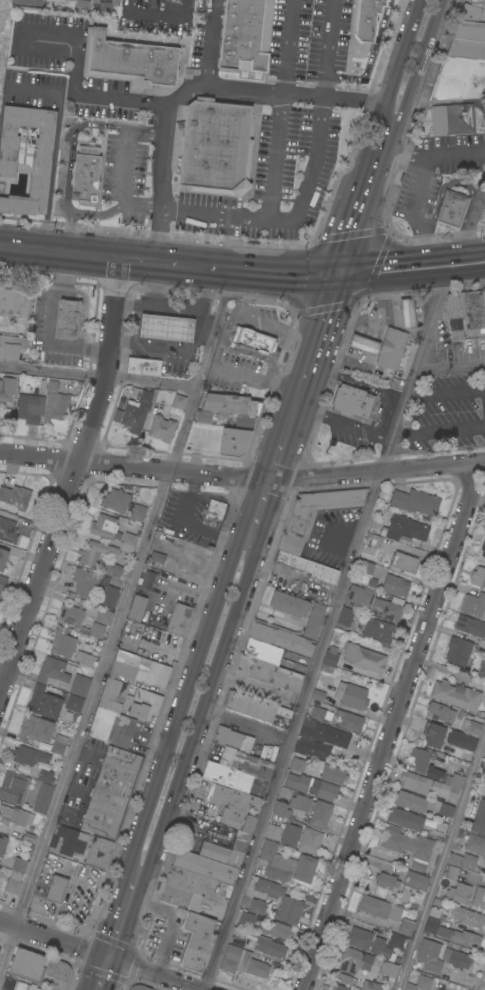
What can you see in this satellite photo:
building: (29, 1)
building: (106, 1)
building: (476, 1)
building: (82, 6)
building: (471, 13)
building: (365, 19)
building: (469, 29)
building: (246, 34)
parking lot: (310, 38)
road: (207, 41)
road: (77, 43)
road: (287, 46)
road: (327, 48)
building: (466, 48)
building: (128, 60)
road: (400, 61)
road: (419, 64)
building: (458, 79)
road: (203, 82)
building: (452, 119)
building: (215, 147)
road: (380, 150)
road: (276, 154)
road: (456, 154)
building: (41, 156)
parking lot: (125, 162)
road: (126, 168)
road: (65, 169)
building: (85, 174)
parking lot: (273, 179)
road: (423, 183)
building: (451, 208)
road: (287, 217)
road: (354, 224)
road: (69, 229)
road: (465, 229)
road: (60, 250)
road: (410, 256)
road: (158, 260)
road: (266, 270)
traffic signals: (338, 272)
road: (411, 281)
building: (14, 300)
building: (484, 302)
road: (135, 304)
road: (177, 305)
road: (83, 307)
building: (463, 312)
building: (407, 313)
building: (68, 314)
road: (199, 316)
road: (135, 323)
building: (164, 326)
road: (45, 327)
road: (215, 327)
road: (317, 336)
building: (254, 340)
building: (363, 344)
building: (11, 346)
road: (172, 348)
building: (391, 348)
building: (143, 366)
road: (449, 367)
road: (99, 376)
road: (252, 378)
building: (6, 388)
road: (453, 391)
building: (178, 401)
building: (350, 401)
building: (55, 402)
building: (230, 404)
building: (157, 406)
building: (30, 408)
building: (137, 411)
parking lot: (445, 415)
building: (202, 417)
building: (242, 420)
building: (161, 428)
road: (438, 431)
road: (284, 440)
building: (233, 441)
road: (242, 477)
road: (73, 478)
building: (15, 496)
building: (114, 500)
building: (414, 501)
building: (215, 508)
building: (137, 512)
building: (313, 514)
road: (268, 516)
building: (105, 527)
building: (405, 528)
building: (8, 530)
building: (484, 530)
building: (383, 531)
building: (127, 542)
building: (371, 542)
building: (483, 548)
building: (92, 552)
building: (155, 556)
building: (2, 557)
building: (403, 562)
building: (306, 567)
building: (366, 568)
building: (114, 573)
building: (478, 576)
building: (146, 579)
building: (2, 582)
building: (85, 582)
building: (394, 585)
building: (109, 596)
building: (374, 602)
building: (288, 604)
building: (473, 604)
building: (136, 607)
building: (71, 614)
building: (345, 616)
building: (104, 617)
building: (178, 619)
building: (313, 620)
building: (469, 625)
building: (96, 630)
building: (378, 630)
building: (132, 632)
road: (325, 634)
building: (281, 638)
building: (61, 642)
building: (262, 651)
building: (458, 652)
building: (147, 654)
building: (329, 657)
building: (363, 658)
building: (85, 659)
building: (482, 667)
building: (52, 670)
building: (138, 671)
road: (192, 671)
building: (275, 675)
road: (101, 683)
building: (80, 685)
building: (317, 693)
building: (455, 694)
building: (112, 695)
building: (351, 695)
building: (43, 702)
building: (73, 703)
building: (144, 704)
building: (249, 706)
building: (437, 709)
building: (318, 713)
building: (351, 721)
road: (247, 724)
road: (389, 725)
building: (111, 726)
building: (474, 727)
building: (35, 729)
building: (433, 734)
building: (318, 738)
building: (232, 739)
building: (461, 740)
building: (59, 745)
building: (268, 753)
building: (28, 755)
road: (186, 757)
building: (484, 757)
building: (420, 759)
building: (246, 763)
building: (484, 769)
building: (433, 773)
building: (333, 774)
building: (227, 776)
building: (297, 778)
building: (415, 782)
building: (449, 785)
building: (13, 787)
building: (42, 790)
building: (111, 792)
building: (411, 801)
building: (299, 802)
building: (234, 806)
building: (281, 809)
building: (446, 809)
building: (320, 814)
building: (14, 816)
building: (405, 818)
building: (479, 818)
building: (272, 831)
building: (290, 834)
building: (310, 840)
building: (67, 841)
building: (475, 844)
building: (2, 845)
building: (409, 846)
building: (225, 849)
building: (98, 852)
building: (483, 857)
road: (441, 859)
building: (454, 859)
building: (468, 861)
building: (484, 862)
building: (19, 864)
building: (286, 864)
building: (204, 866)
building: (450, 872)
building: (184, 879)
building: (386, 880)
building: (416, 880)
building: (210, 881)
building: (12, 886)
building: (56, 888)
building: (228, 891)
building: (458, 892)
building: (405, 896)
building: (479, 897)
building: (181, 898)
building: (280, 901)
building: (257, 906)
building: (379, 908)
building: (434, 912)
road: (113, 914)
building: (466, 916)
building: (246, 919)
building: (406, 926)
building: (275, 929)
building: (452, 933)
road: (49, 938)
building: (359, 938)
building: (196, 940)
building: (395, 941)
building: (269, 947)
building: (380, 948)
building: (429, 955)
building: (456, 958)
road: (108, 959)
building: (242, 962)
building: (352, 963)
building: (27, 965)
building: (389, 969)
road: (93, 973)
building: (58, 974)
road: (113, 976)
road: (160, 976)
building: (419, 983)
building: (370, 985)
building: (25, 986)
building: (138, 987)
building: (339, 987)
building: (1, 989)
building: (437, 989)
building: (439, 989)

